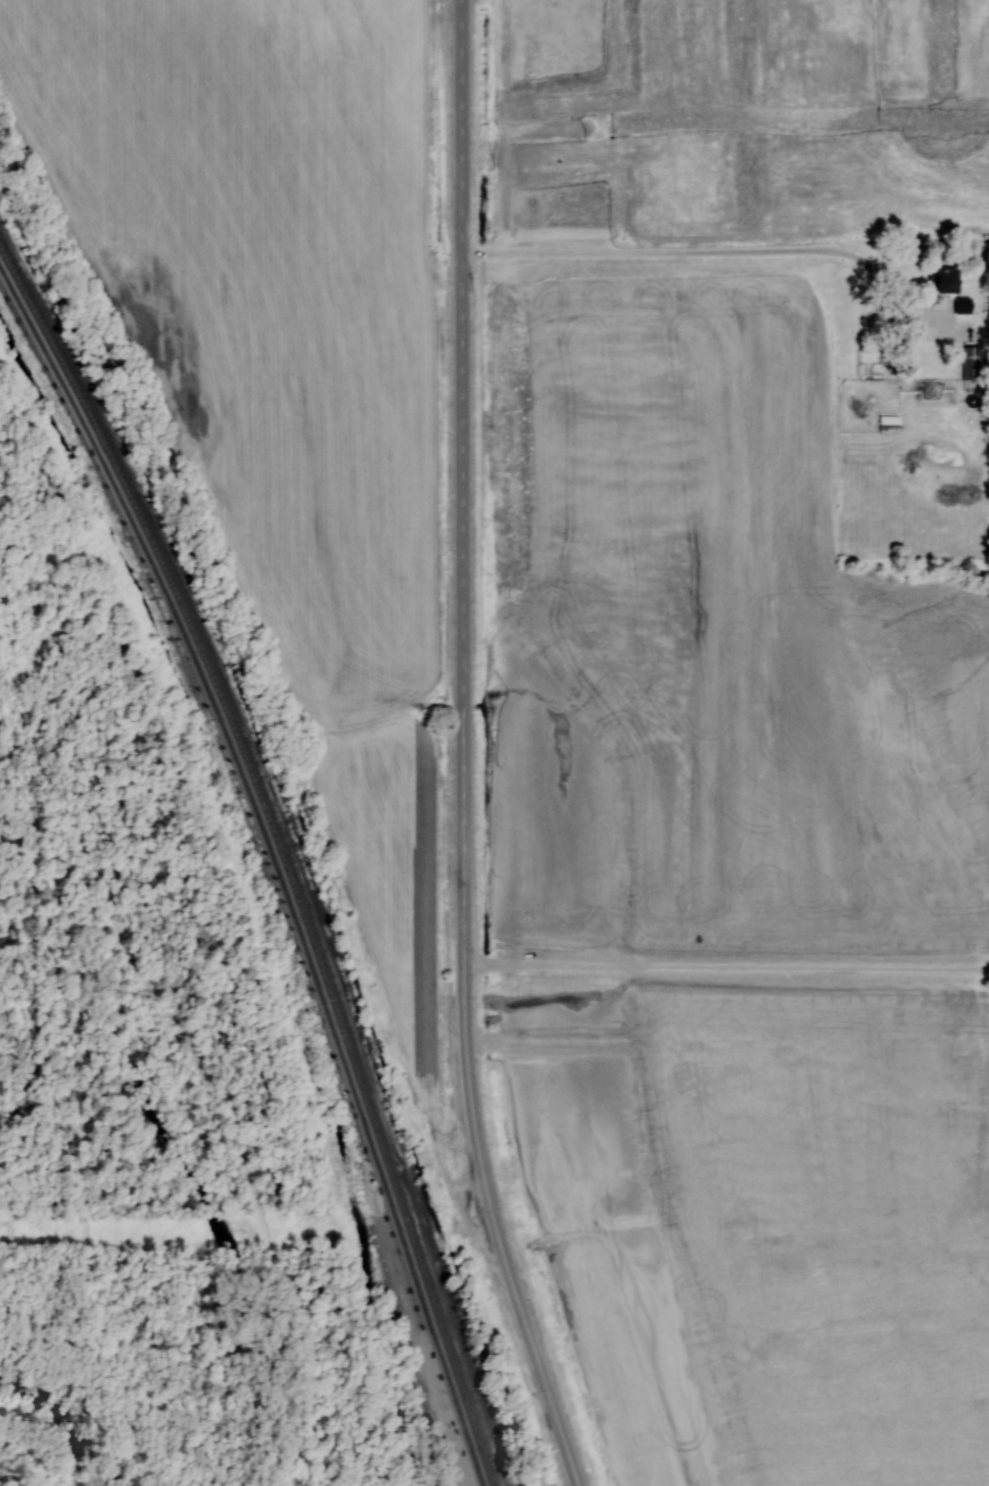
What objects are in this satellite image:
road: (718, 250)
building: (943, 279)
building: (963, 303)
park: (72, 338)
road: (463, 483)
railway: (283, 849)
railway: (275, 862)
road: (726, 964)
road: (69, 1090)
park: (361, 1124)
road: (496, 1231)
road: (88, 1397)

